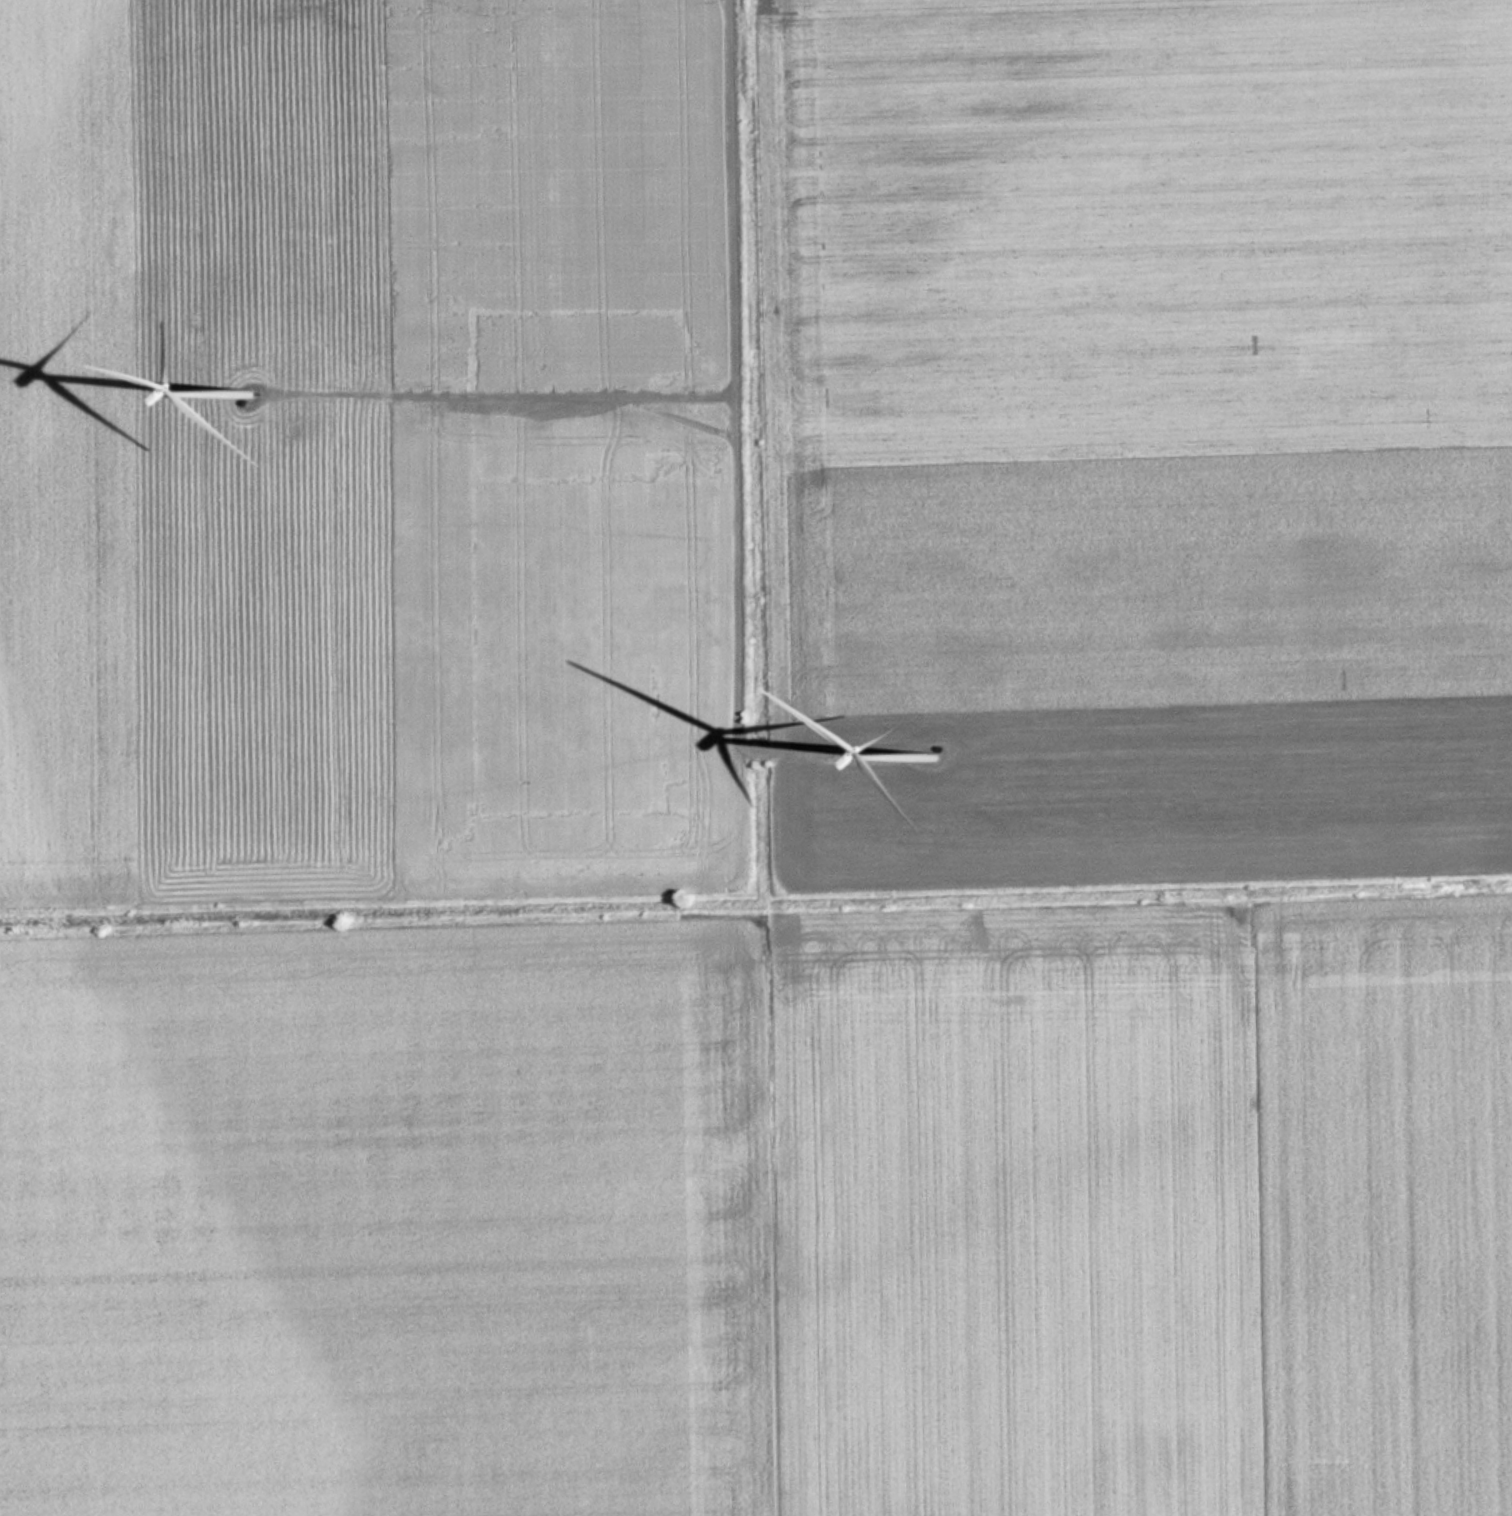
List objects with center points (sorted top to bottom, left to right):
wind turbine: (234, 373)
road: (515, 399)
road: (730, 418)
wind turbine: (926, 741)

